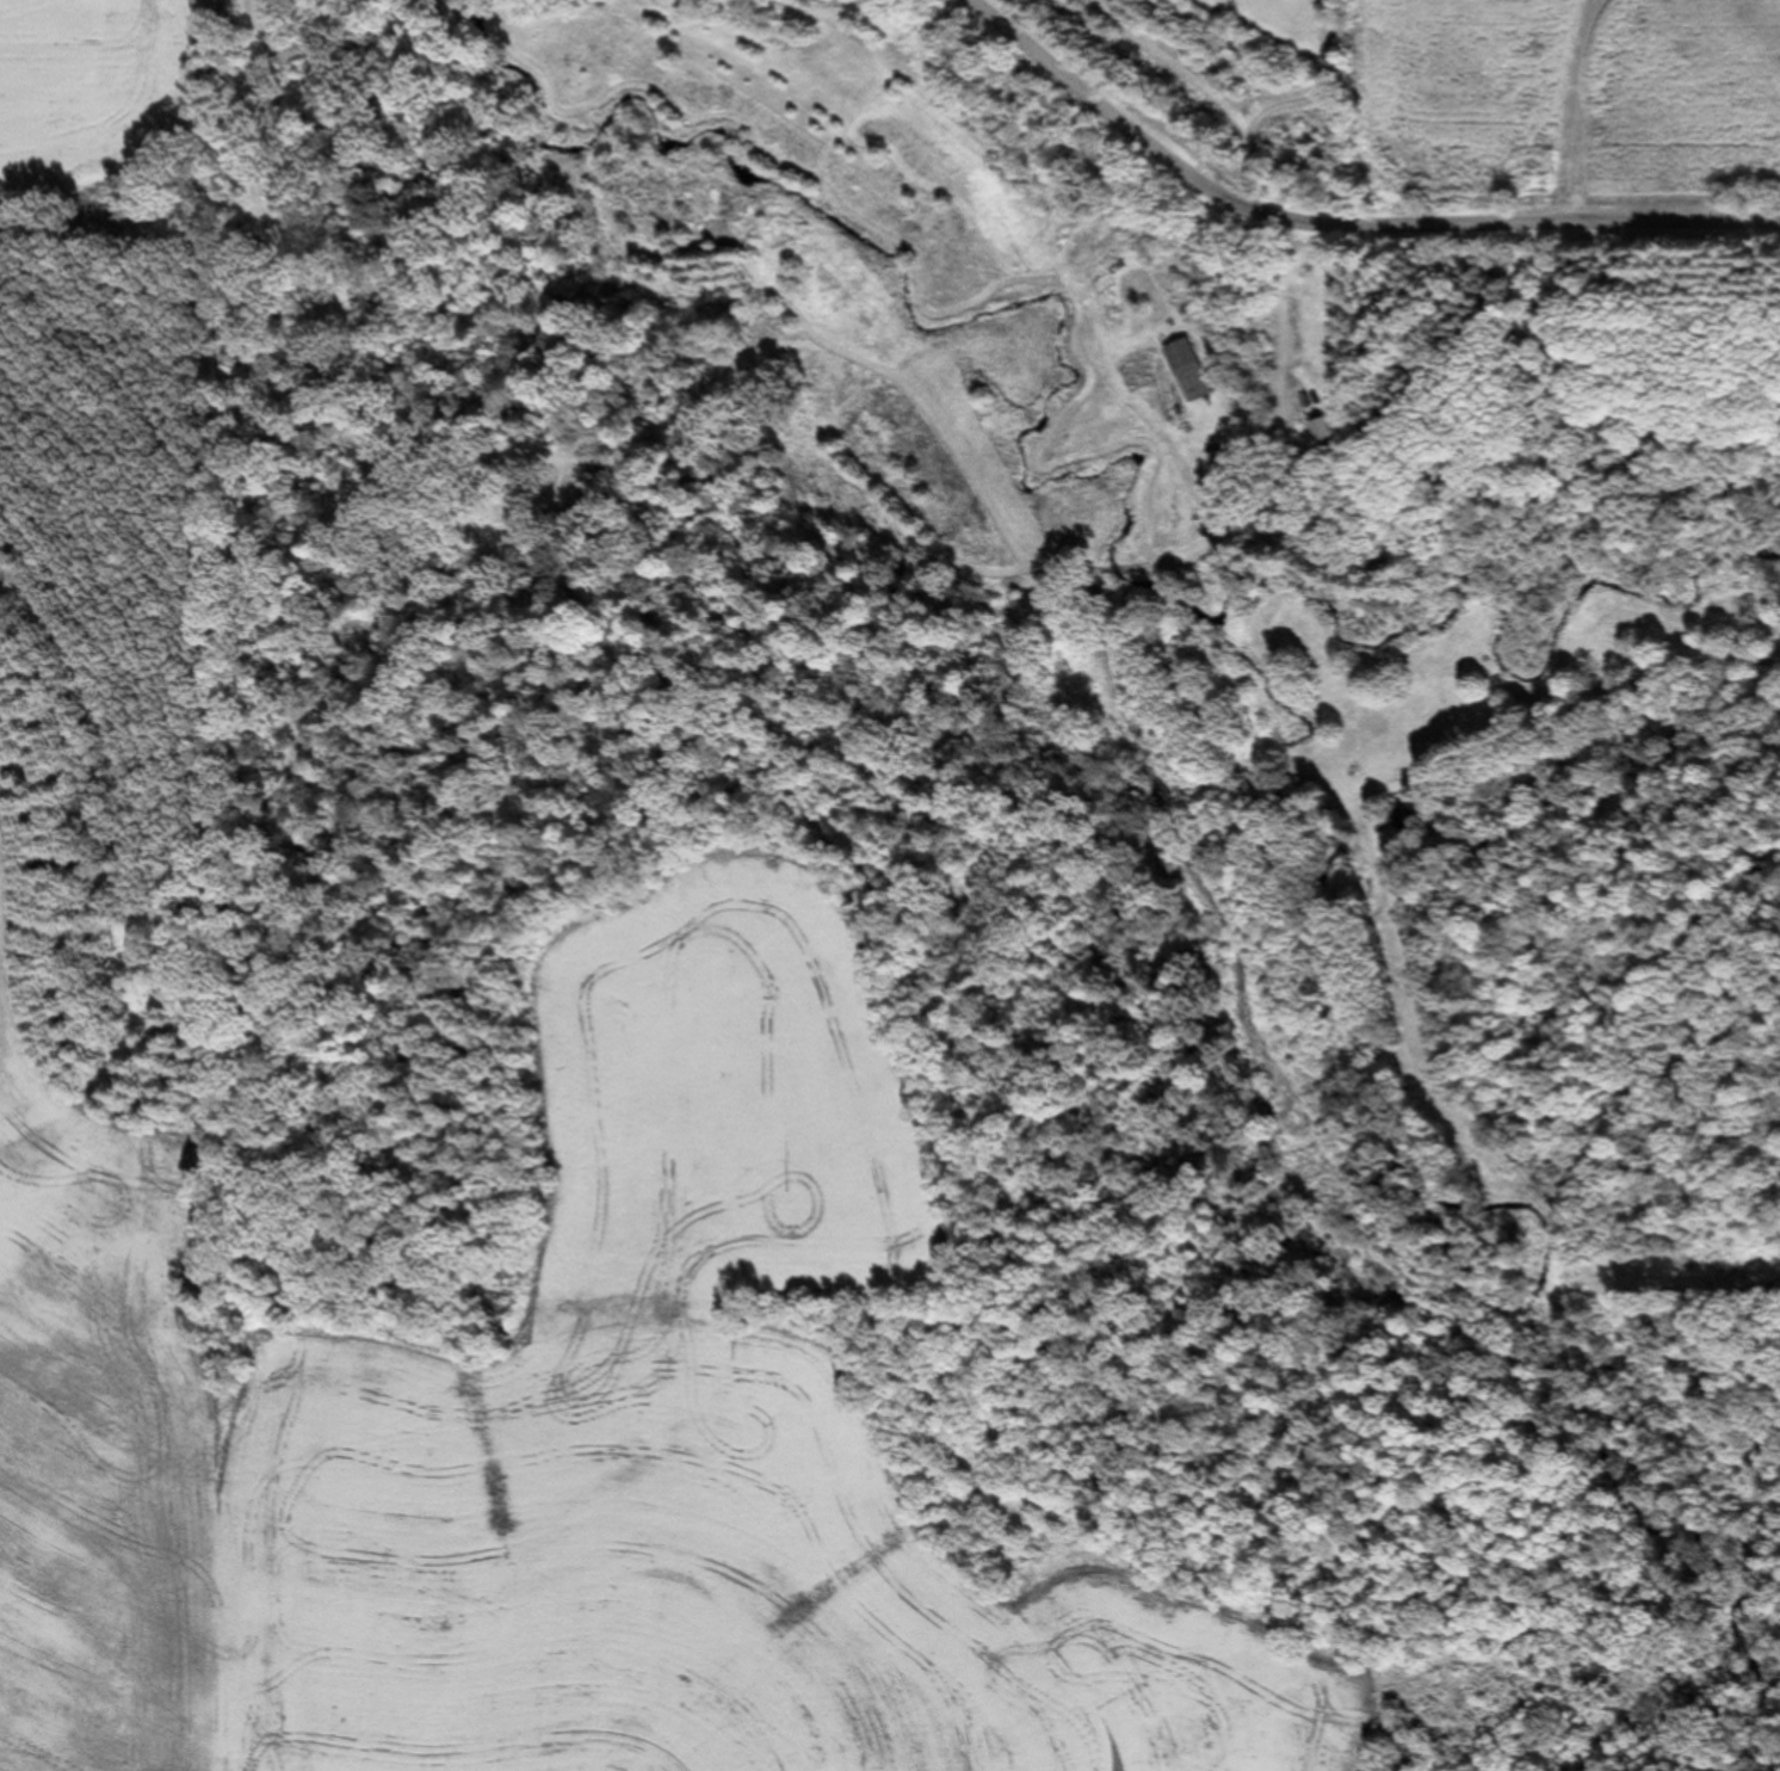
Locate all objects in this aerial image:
road: (1337, 221)
building: (1189, 370)
building: (1327, 432)
building: (1220, 473)

